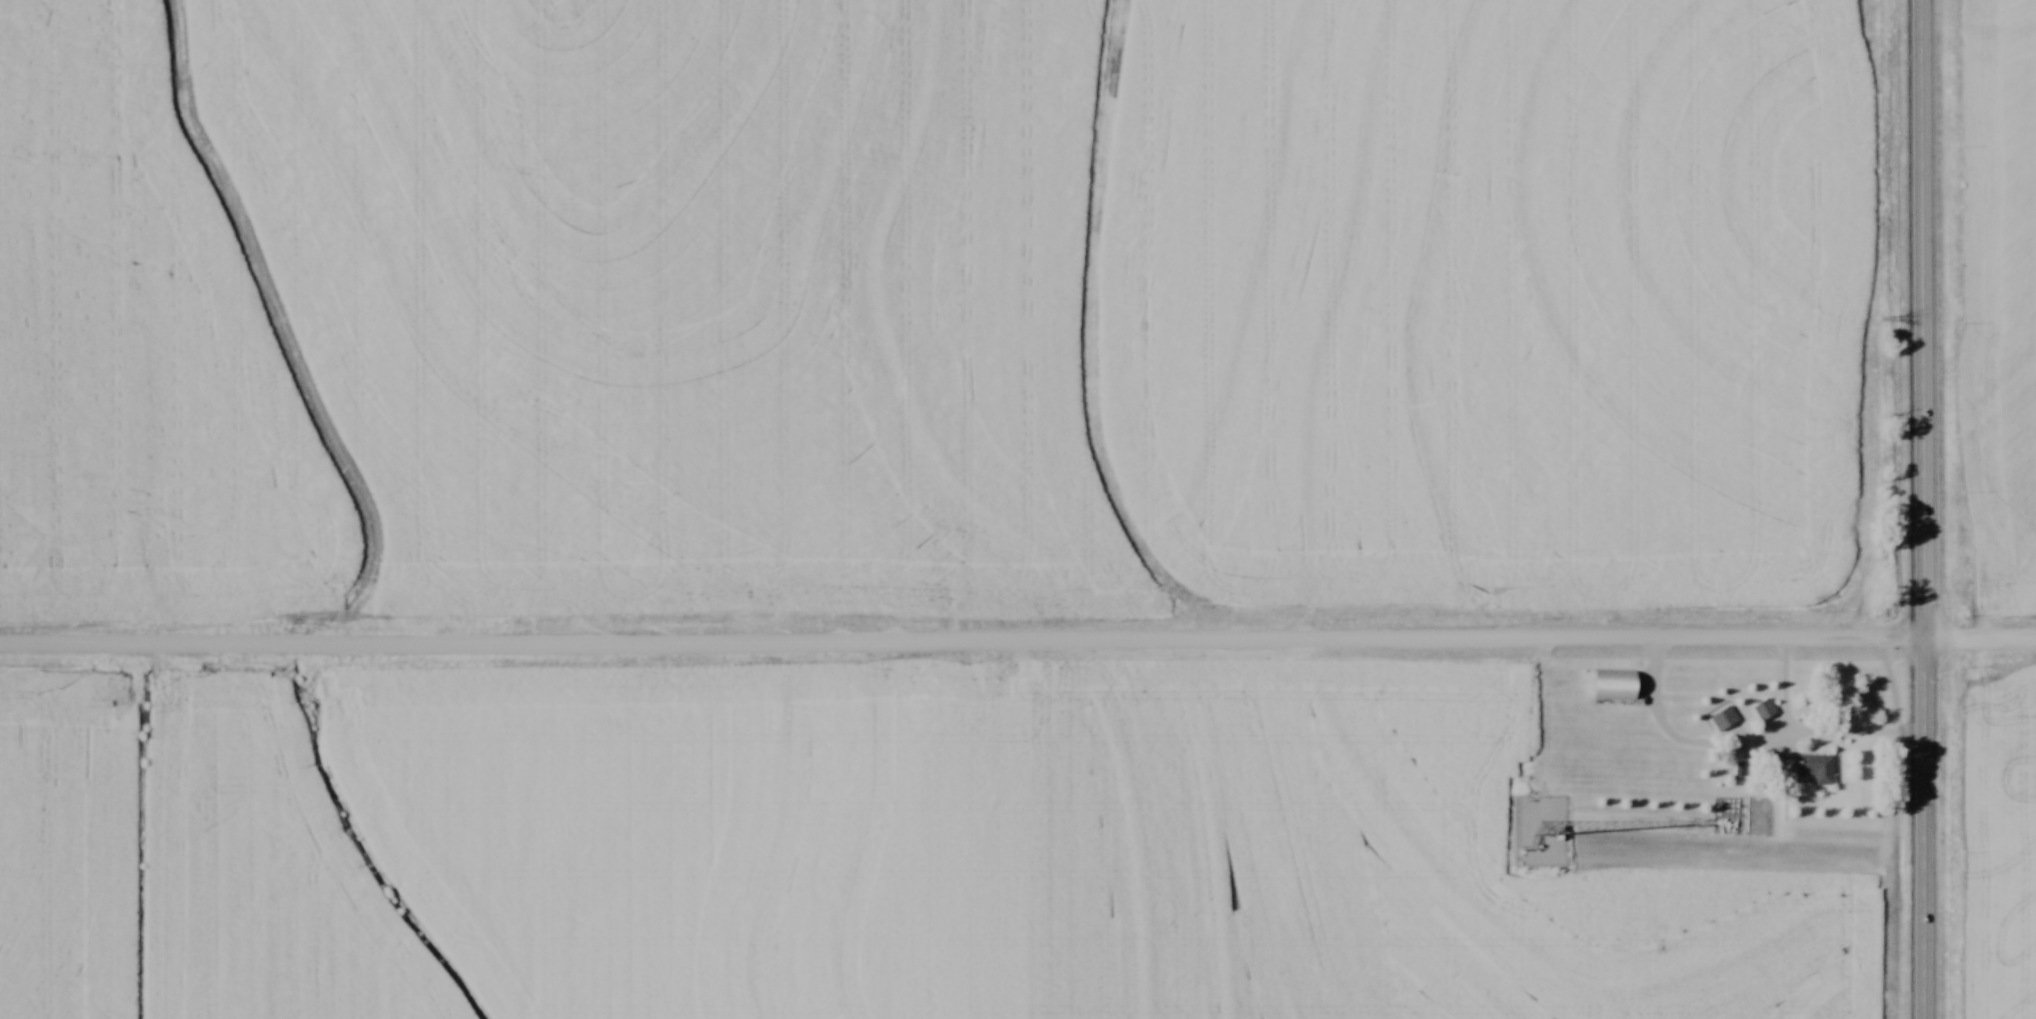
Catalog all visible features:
road: (1921, 509)
road: (1978, 643)
road: (960, 646)
building: (1680, 683)
building: (1615, 684)
building: (1763, 710)
road: (1544, 720)
road: (1746, 746)
building: (1733, 762)
building: (1816, 769)

